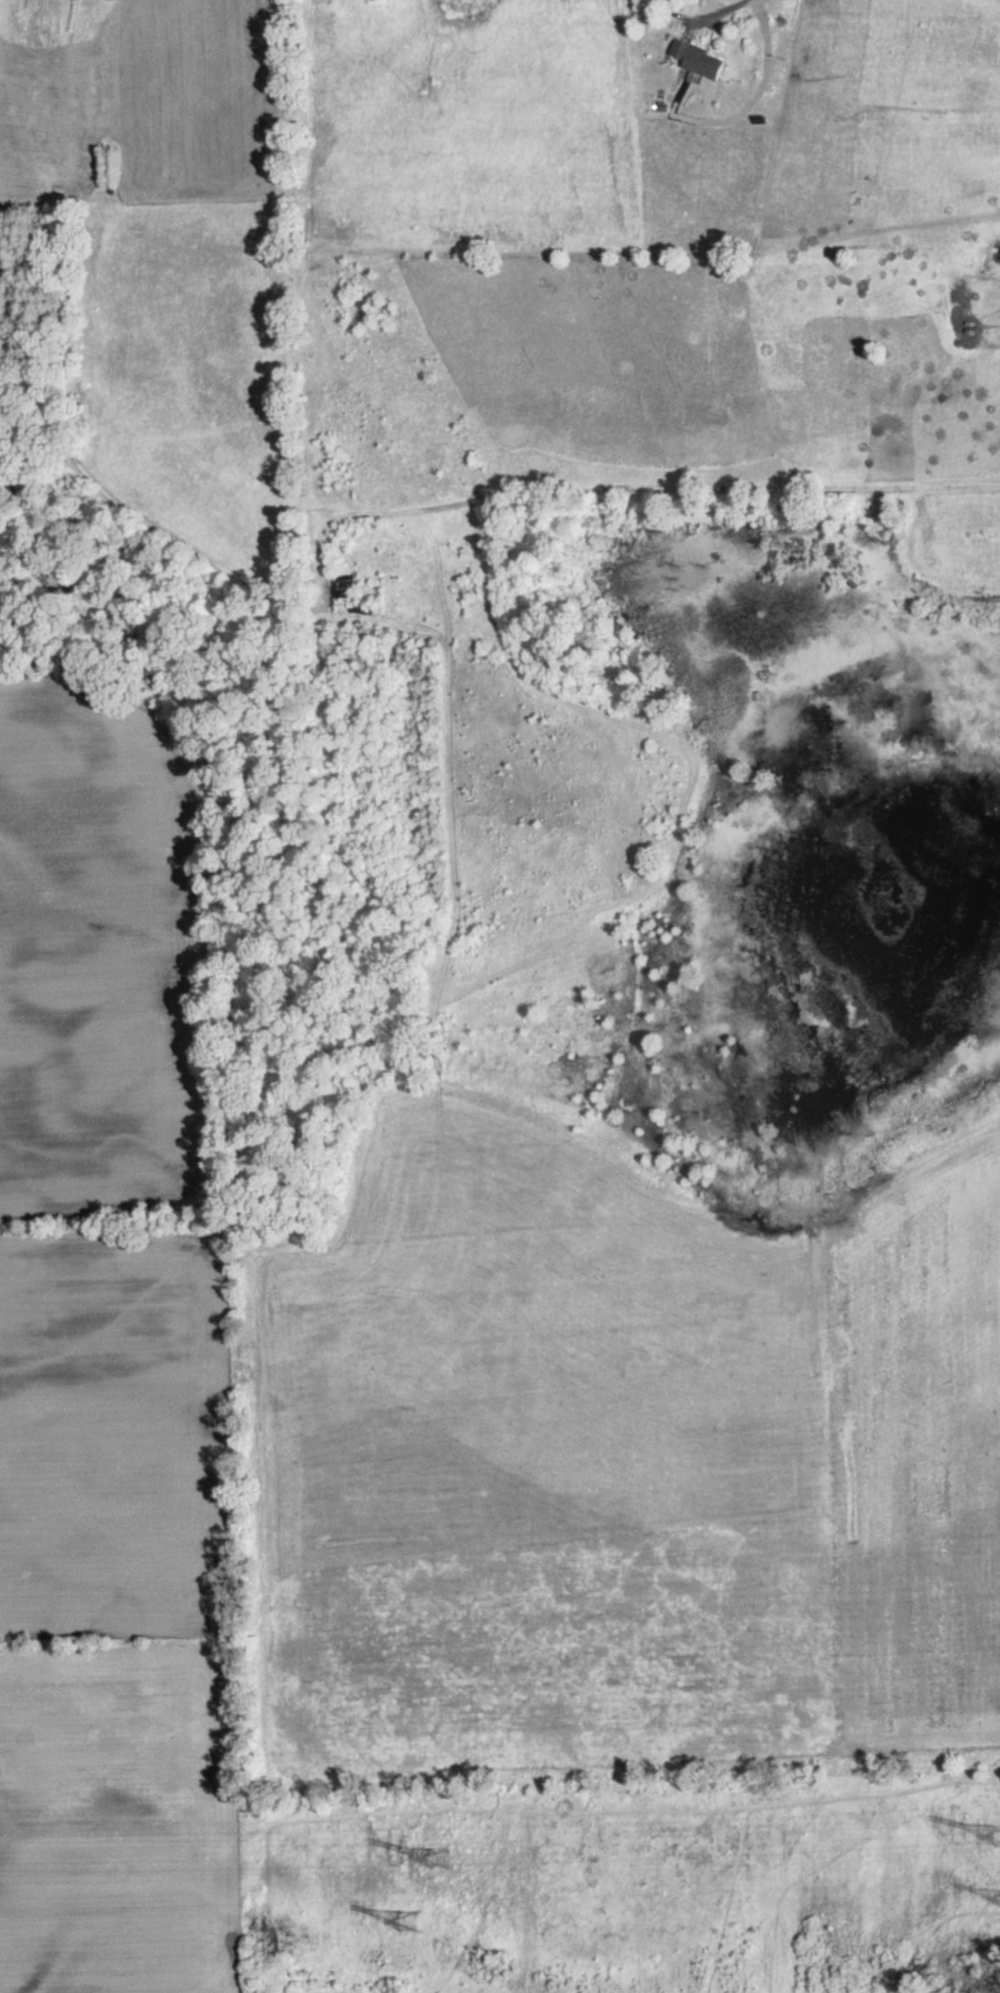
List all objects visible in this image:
road: (722, 11)
building: (705, 60)
power tower: (999, 1835)
power tower: (436, 1859)
power tower: (447, 1920)

